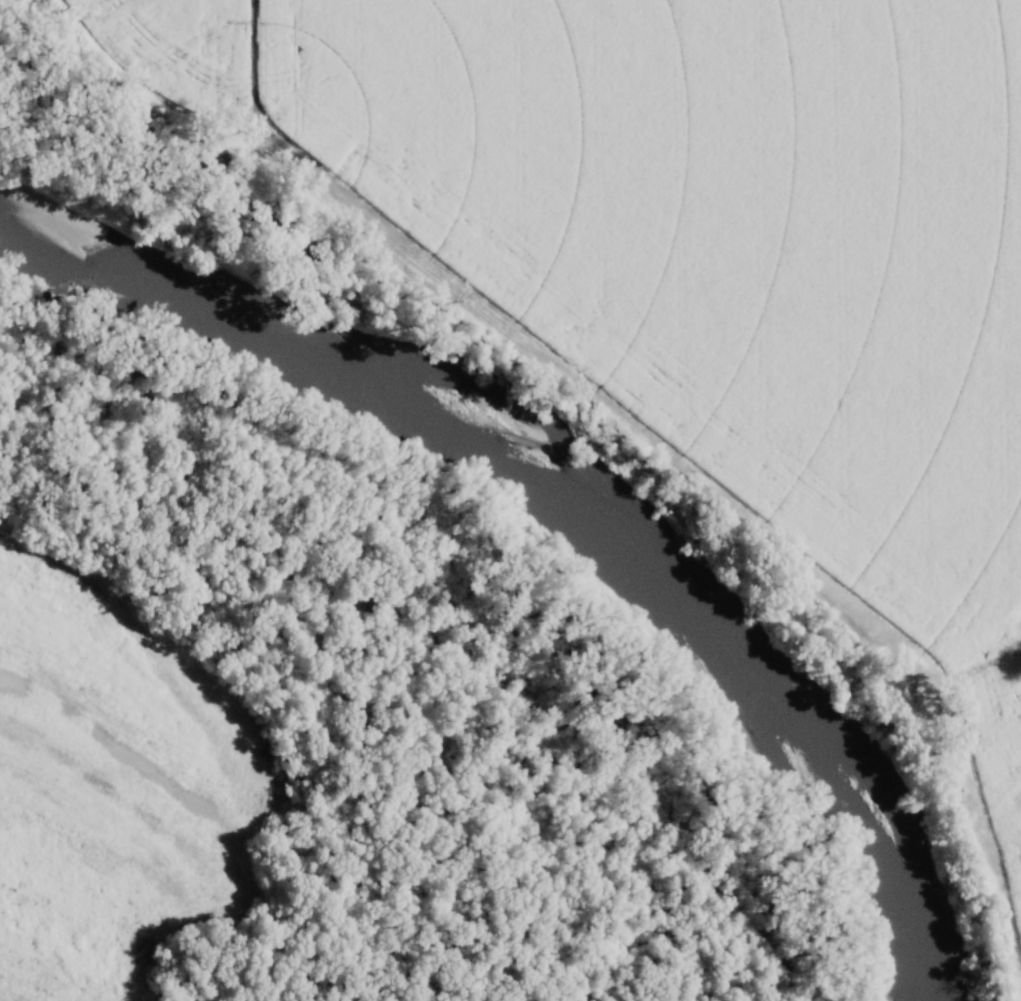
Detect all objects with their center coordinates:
river: (562, 482)

